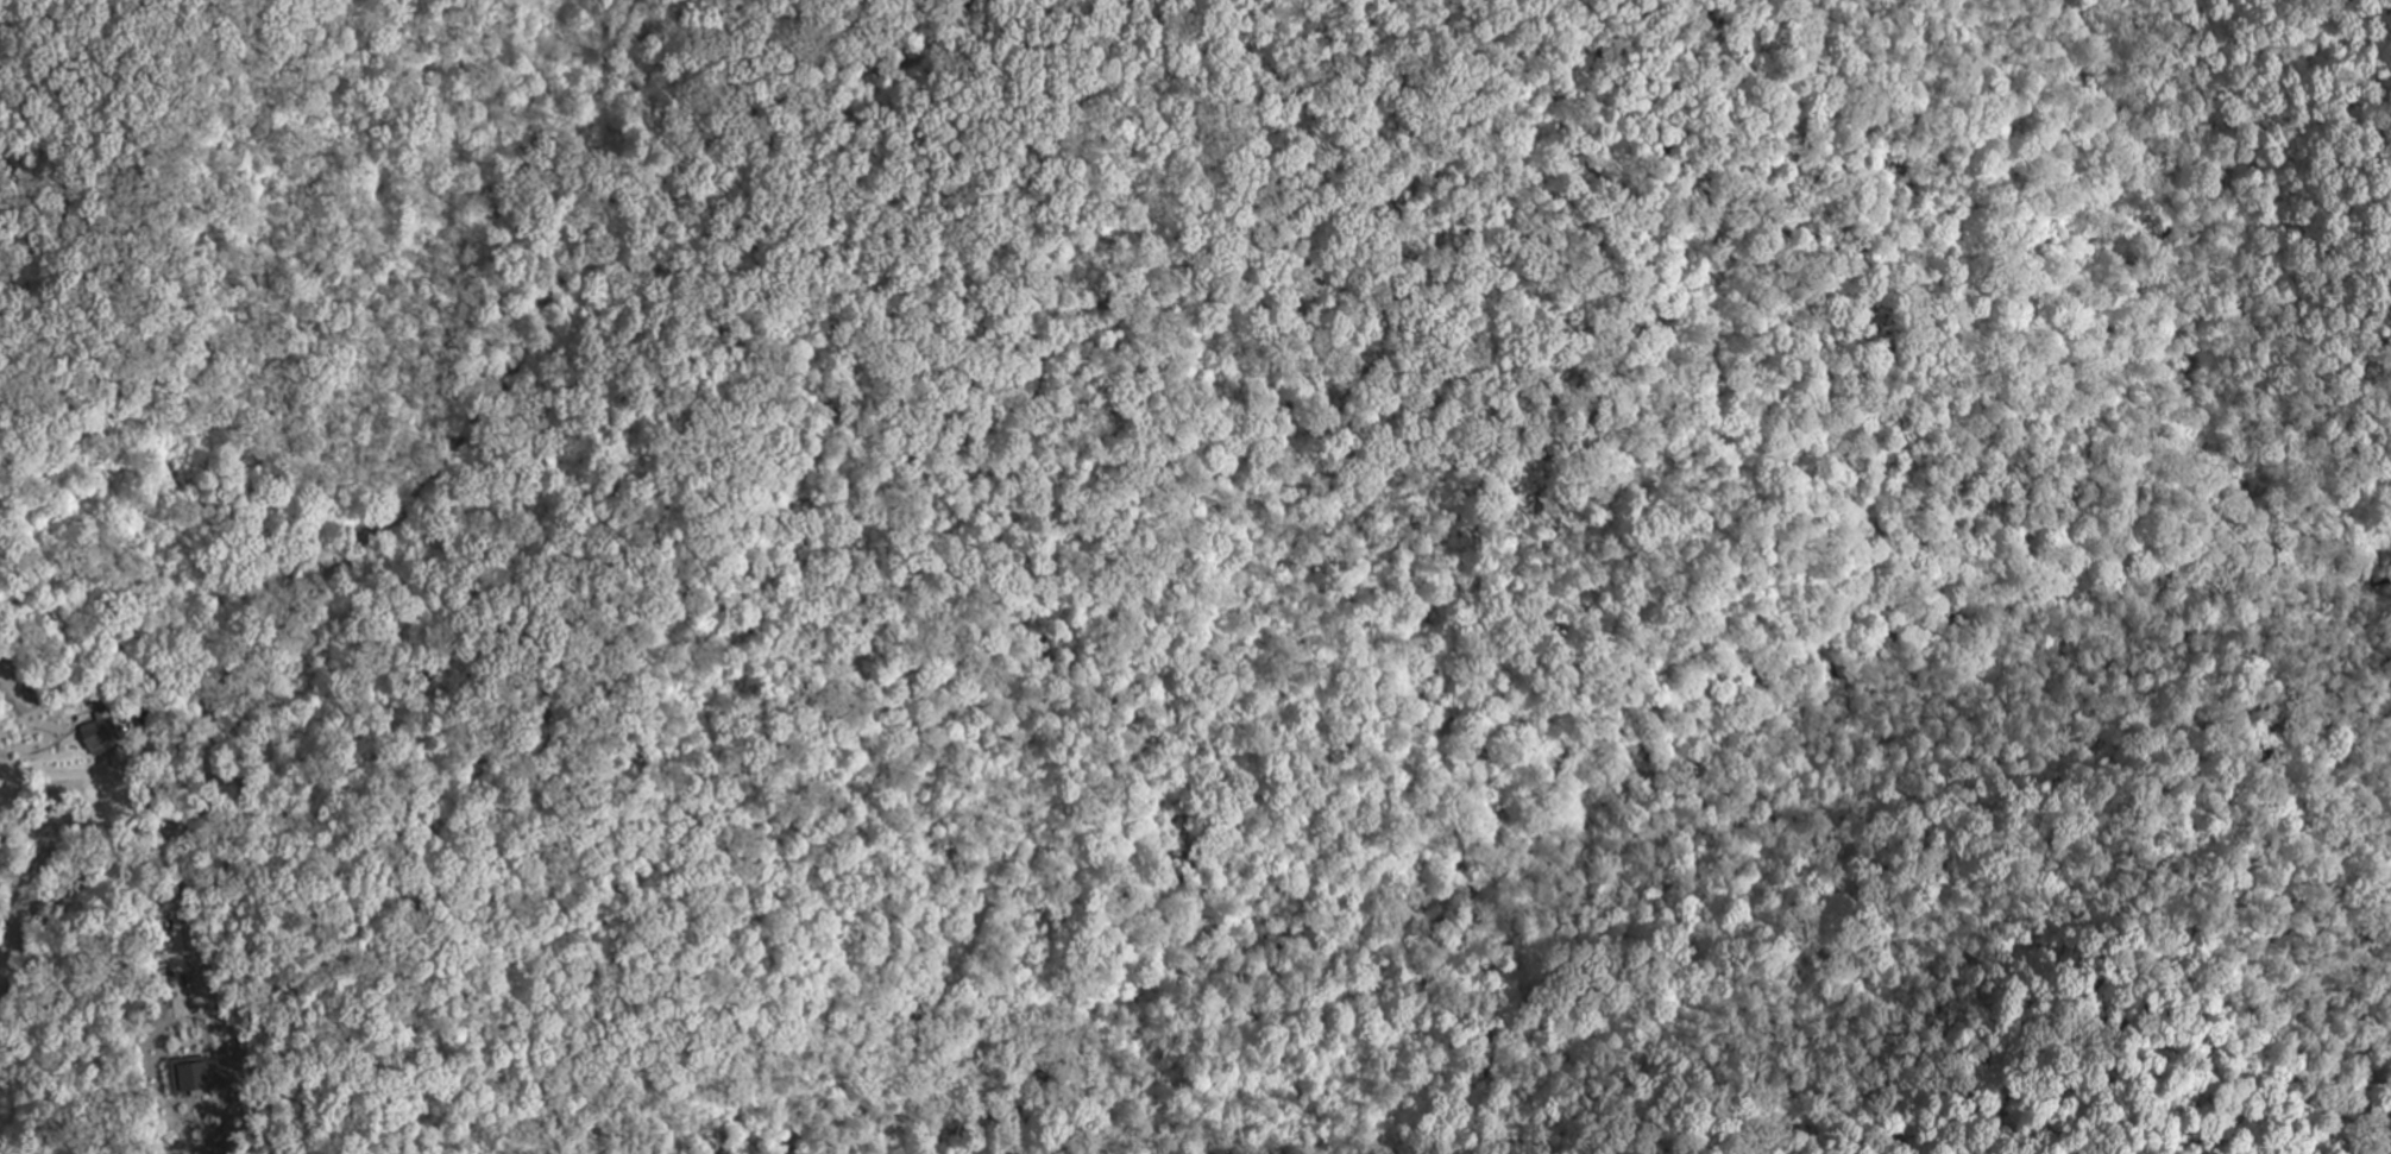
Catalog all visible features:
road: (597, 603)
road: (174, 882)
building: (195, 1076)

